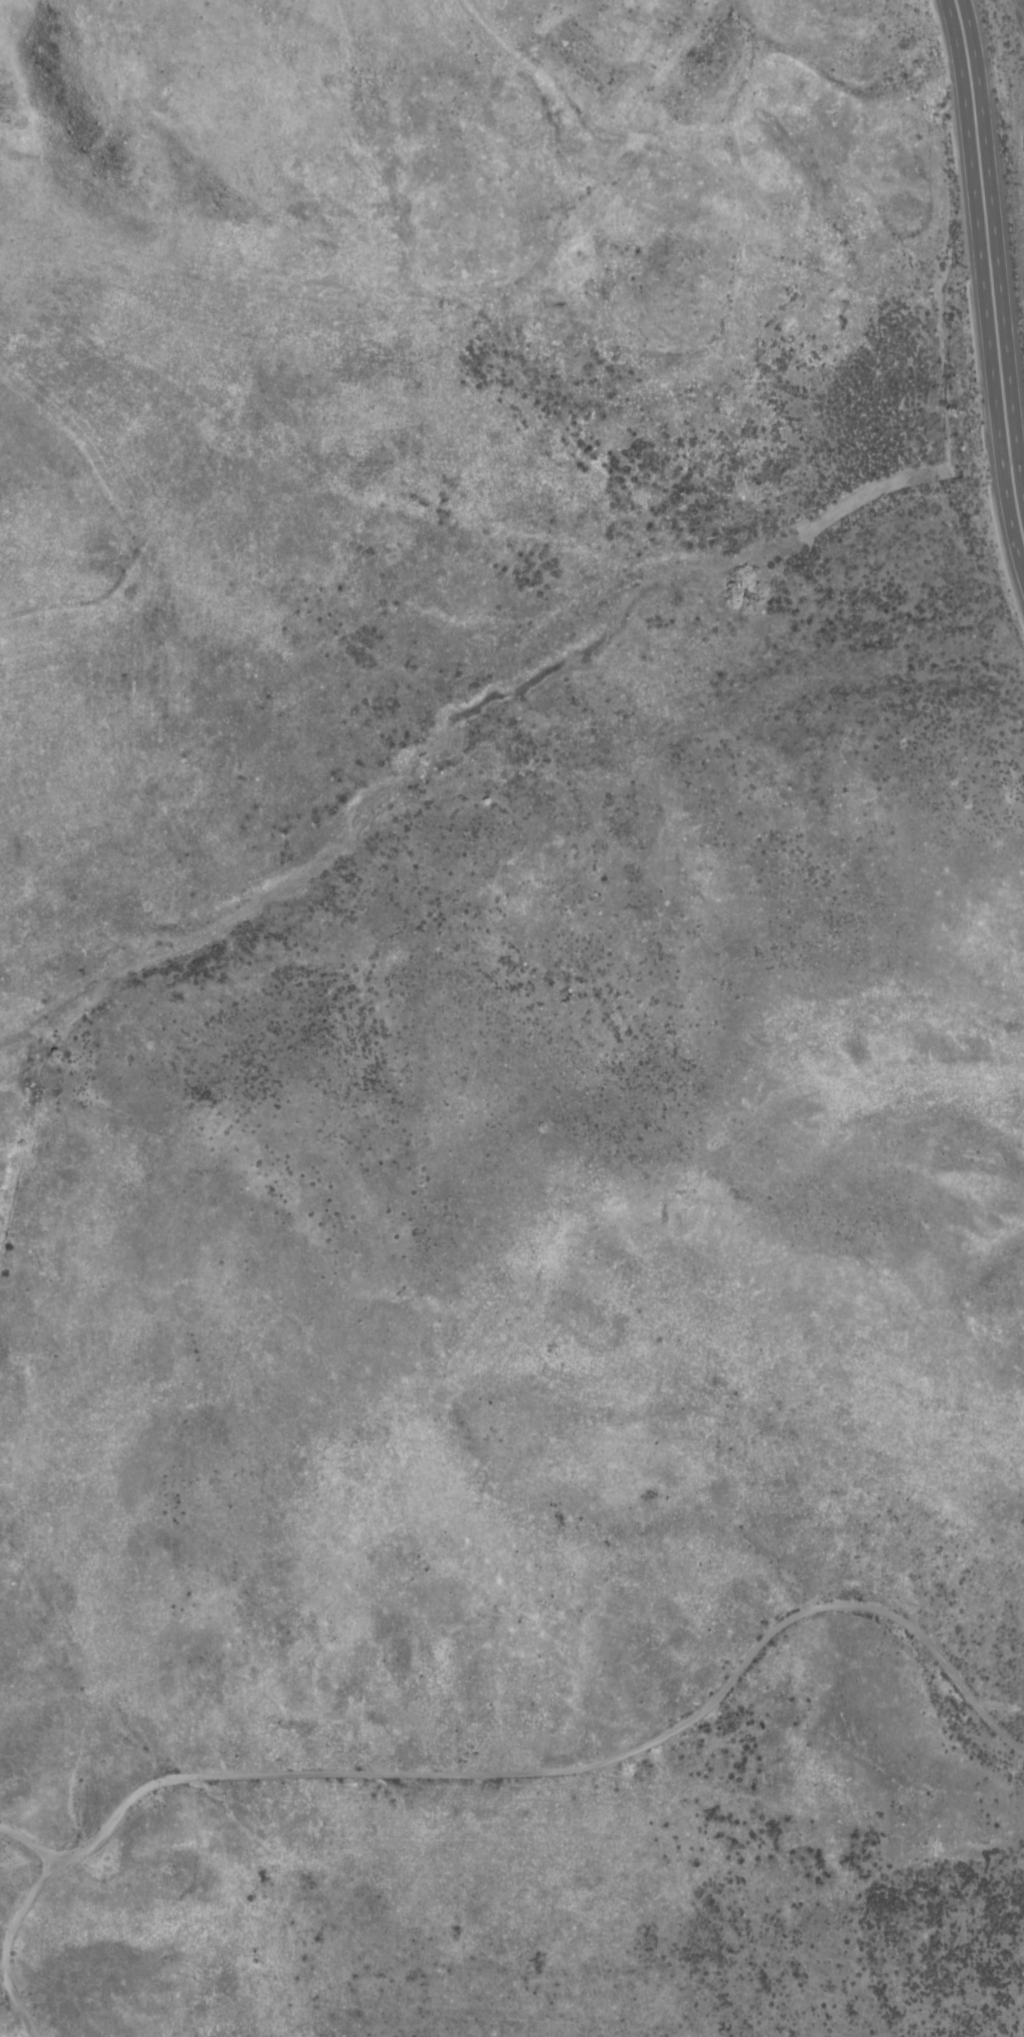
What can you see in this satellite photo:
road: (992, 267)
road: (548, 1776)
road: (20, 1945)

